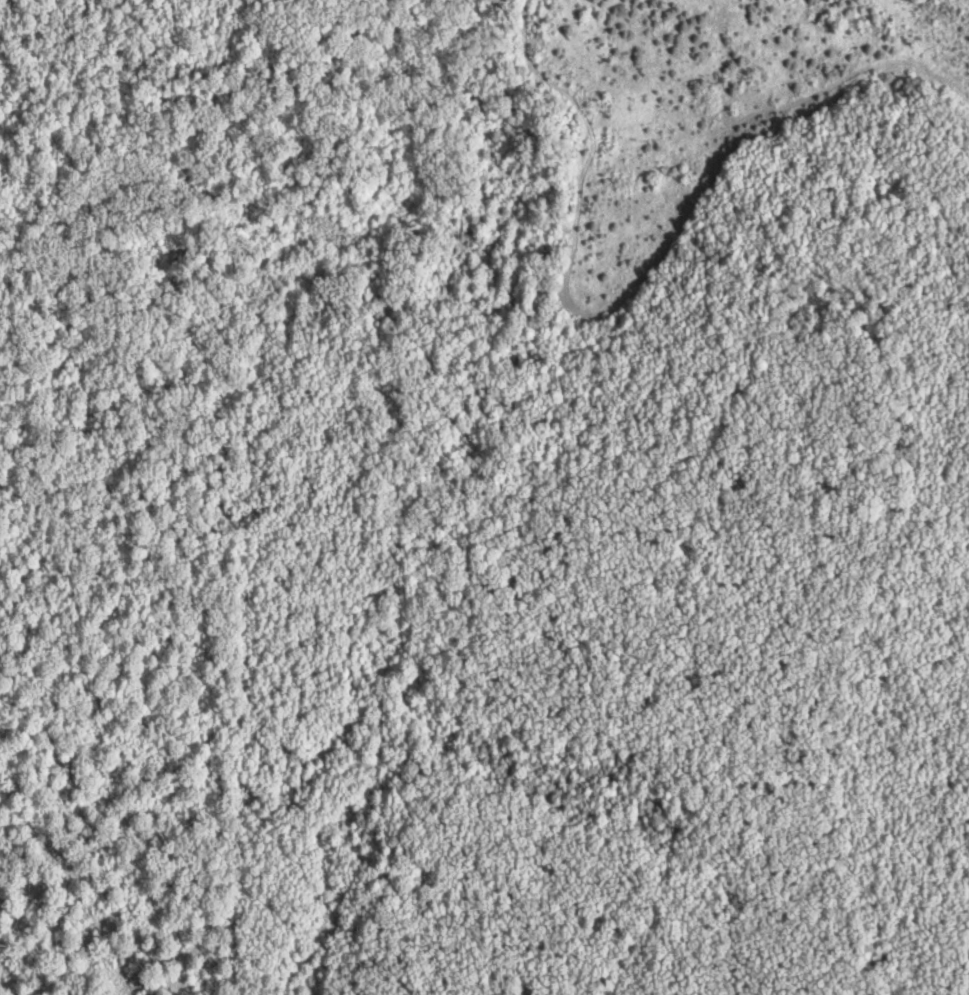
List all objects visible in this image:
road: (47, 986)

